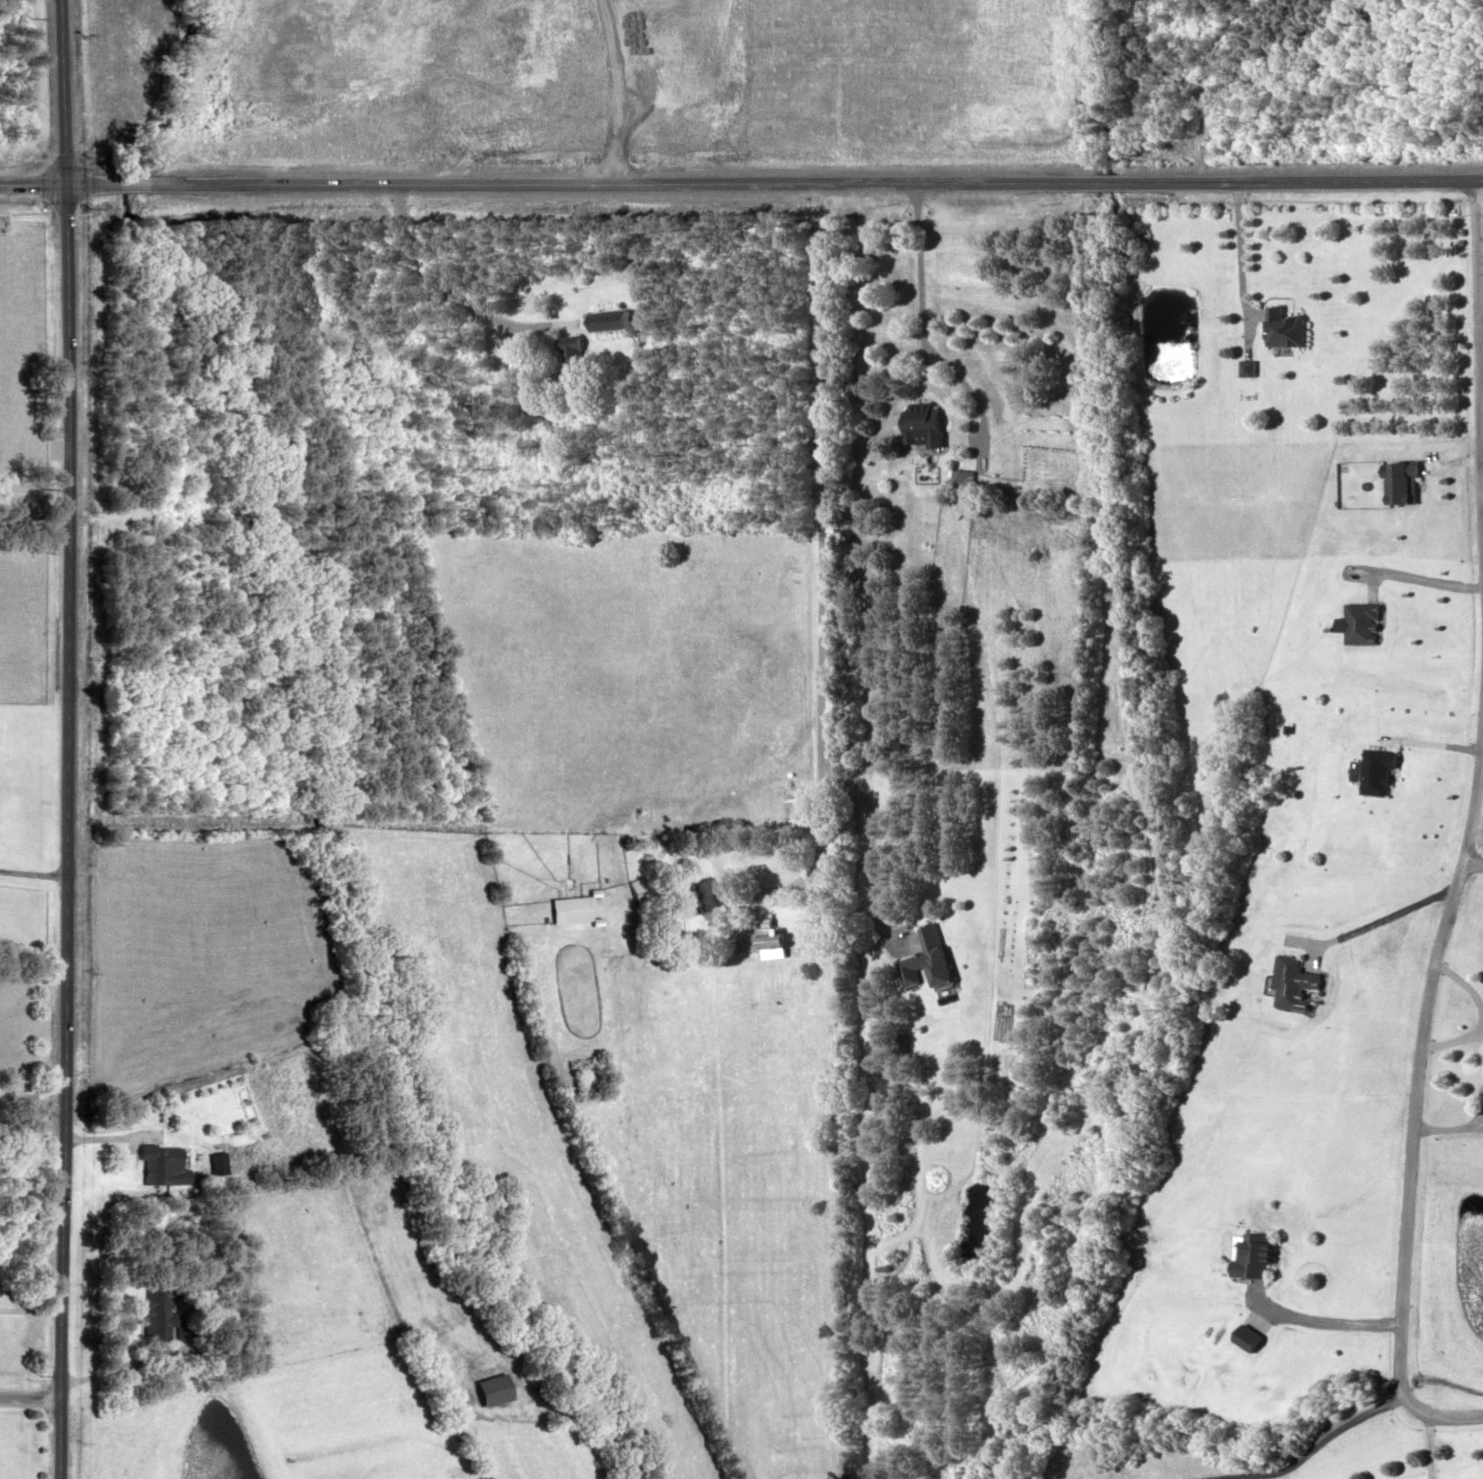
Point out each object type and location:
road: (773, 181)
road: (32, 184)
road: (454, 297)
building: (607, 319)
building: (1282, 327)
road: (1479, 329)
building: (567, 357)
building: (921, 425)
building: (1400, 480)
road: (33, 520)
road: (828, 581)
building: (1360, 623)
road: (65, 739)
building: (1375, 770)
road: (31, 871)
building: (700, 893)
building: (567, 908)
building: (664, 936)
building: (925, 959)
building: (1292, 982)
road: (31, 1096)
road: (1413, 1098)
building: (149, 1163)
building: (1250, 1253)
road: (30, 1308)
building: (154, 1313)
road: (30, 1397)

